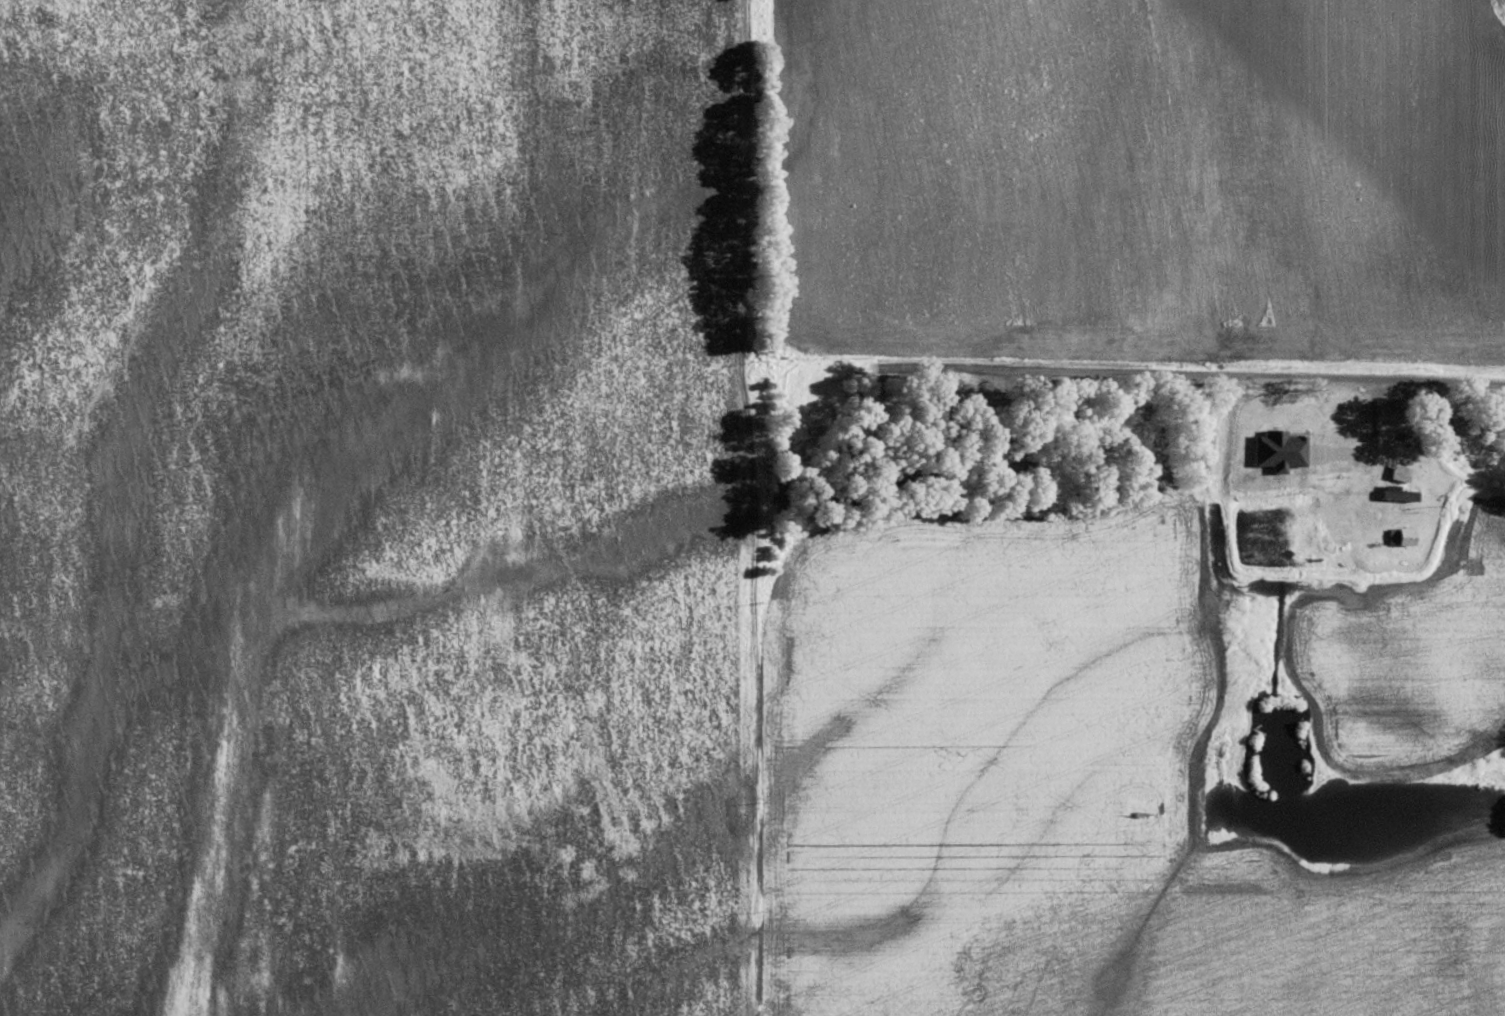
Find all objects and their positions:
building: (1273, 449)
building: (1400, 474)
building: (1400, 494)
road: (1285, 523)
building: (1403, 536)

